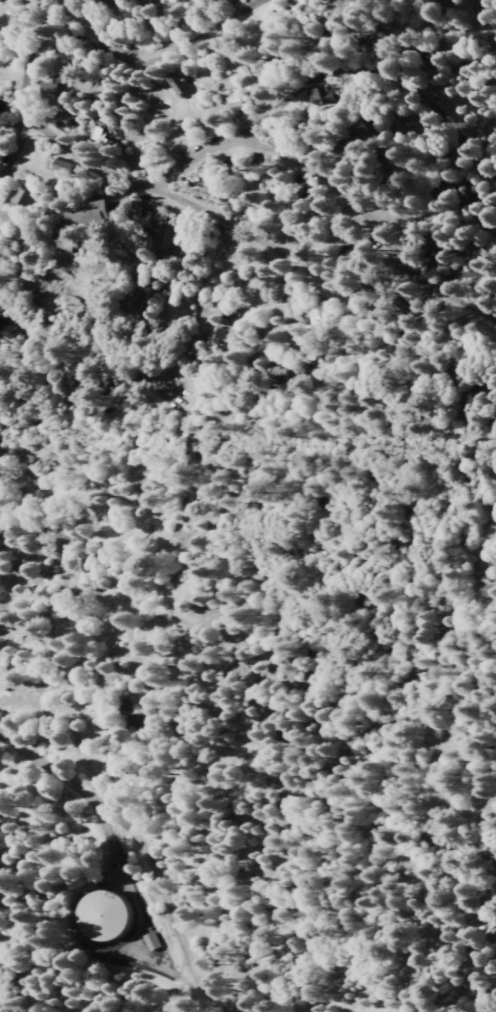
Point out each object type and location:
road: (481, 17)
road: (84, 39)
building: (272, 71)
road: (376, 75)
building: (55, 85)
building: (181, 87)
building: (330, 95)
building: (239, 105)
building: (105, 138)
road: (277, 149)
building: (65, 167)
building: (26, 197)
building: (98, 219)
building: (185, 234)
road: (257, 240)
building: (79, 247)
building: (43, 251)
building: (321, 313)
building: (9, 335)
road: (85, 362)
building: (80, 372)
road: (141, 855)
building: (110, 916)
building: (154, 942)

